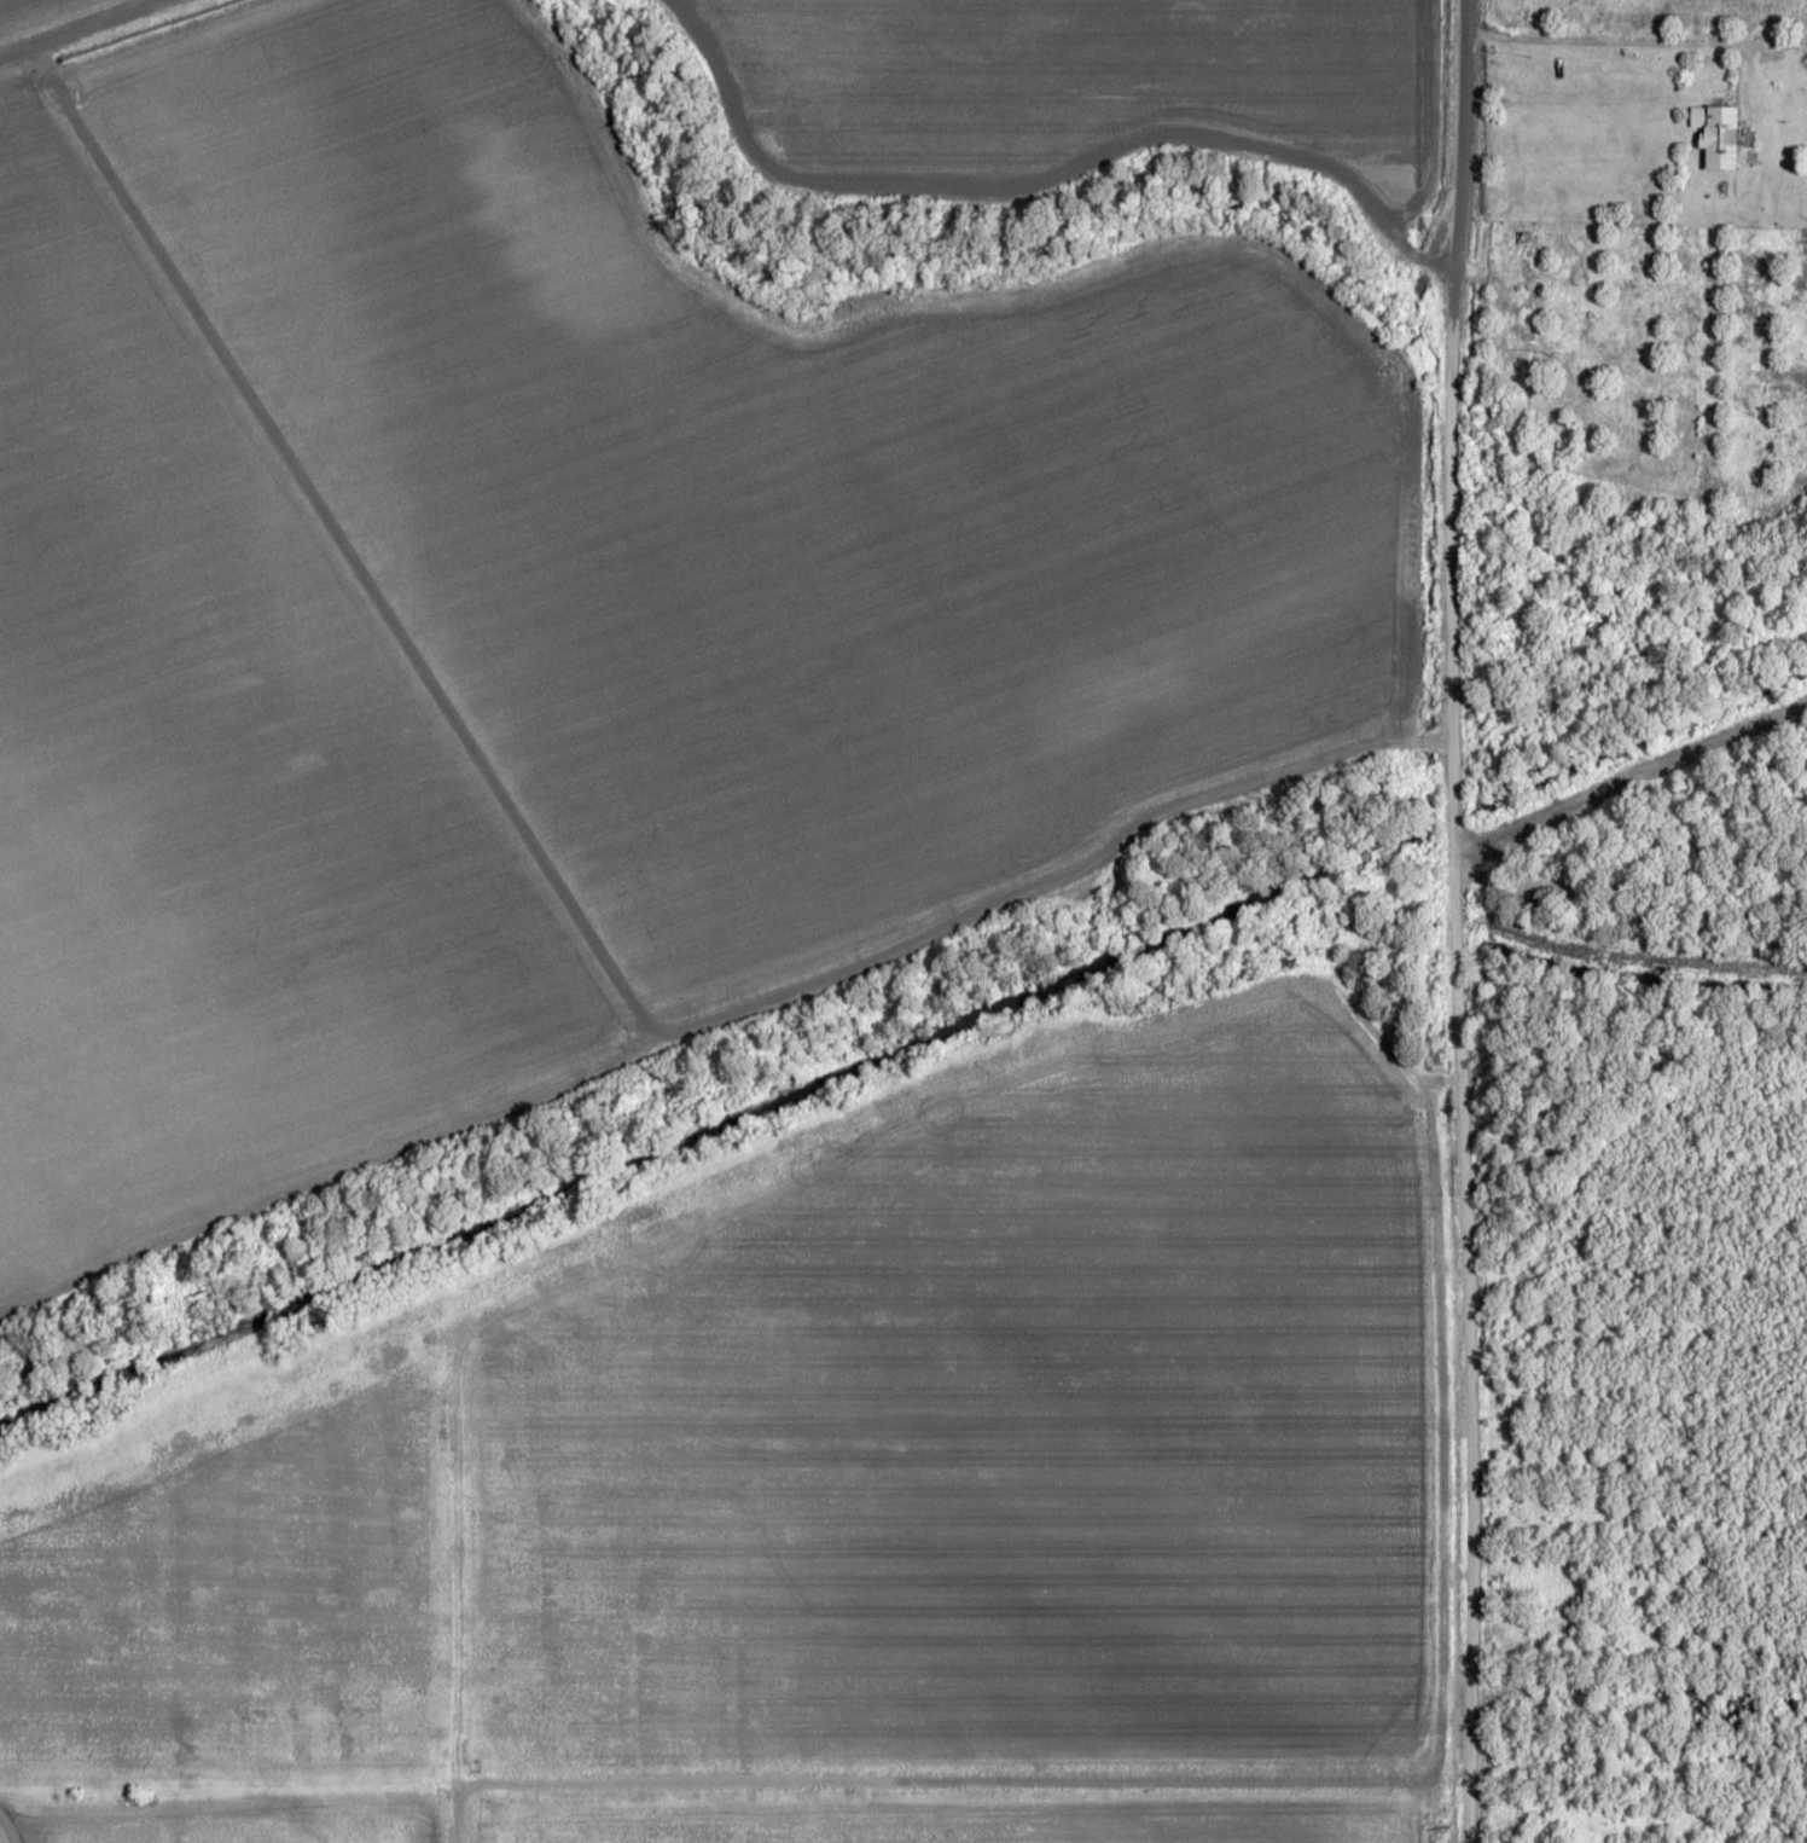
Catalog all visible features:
road: (76, 27)
road: (1628, 39)
building: (1718, 135)
road: (1458, 921)
road: (728, 1022)

